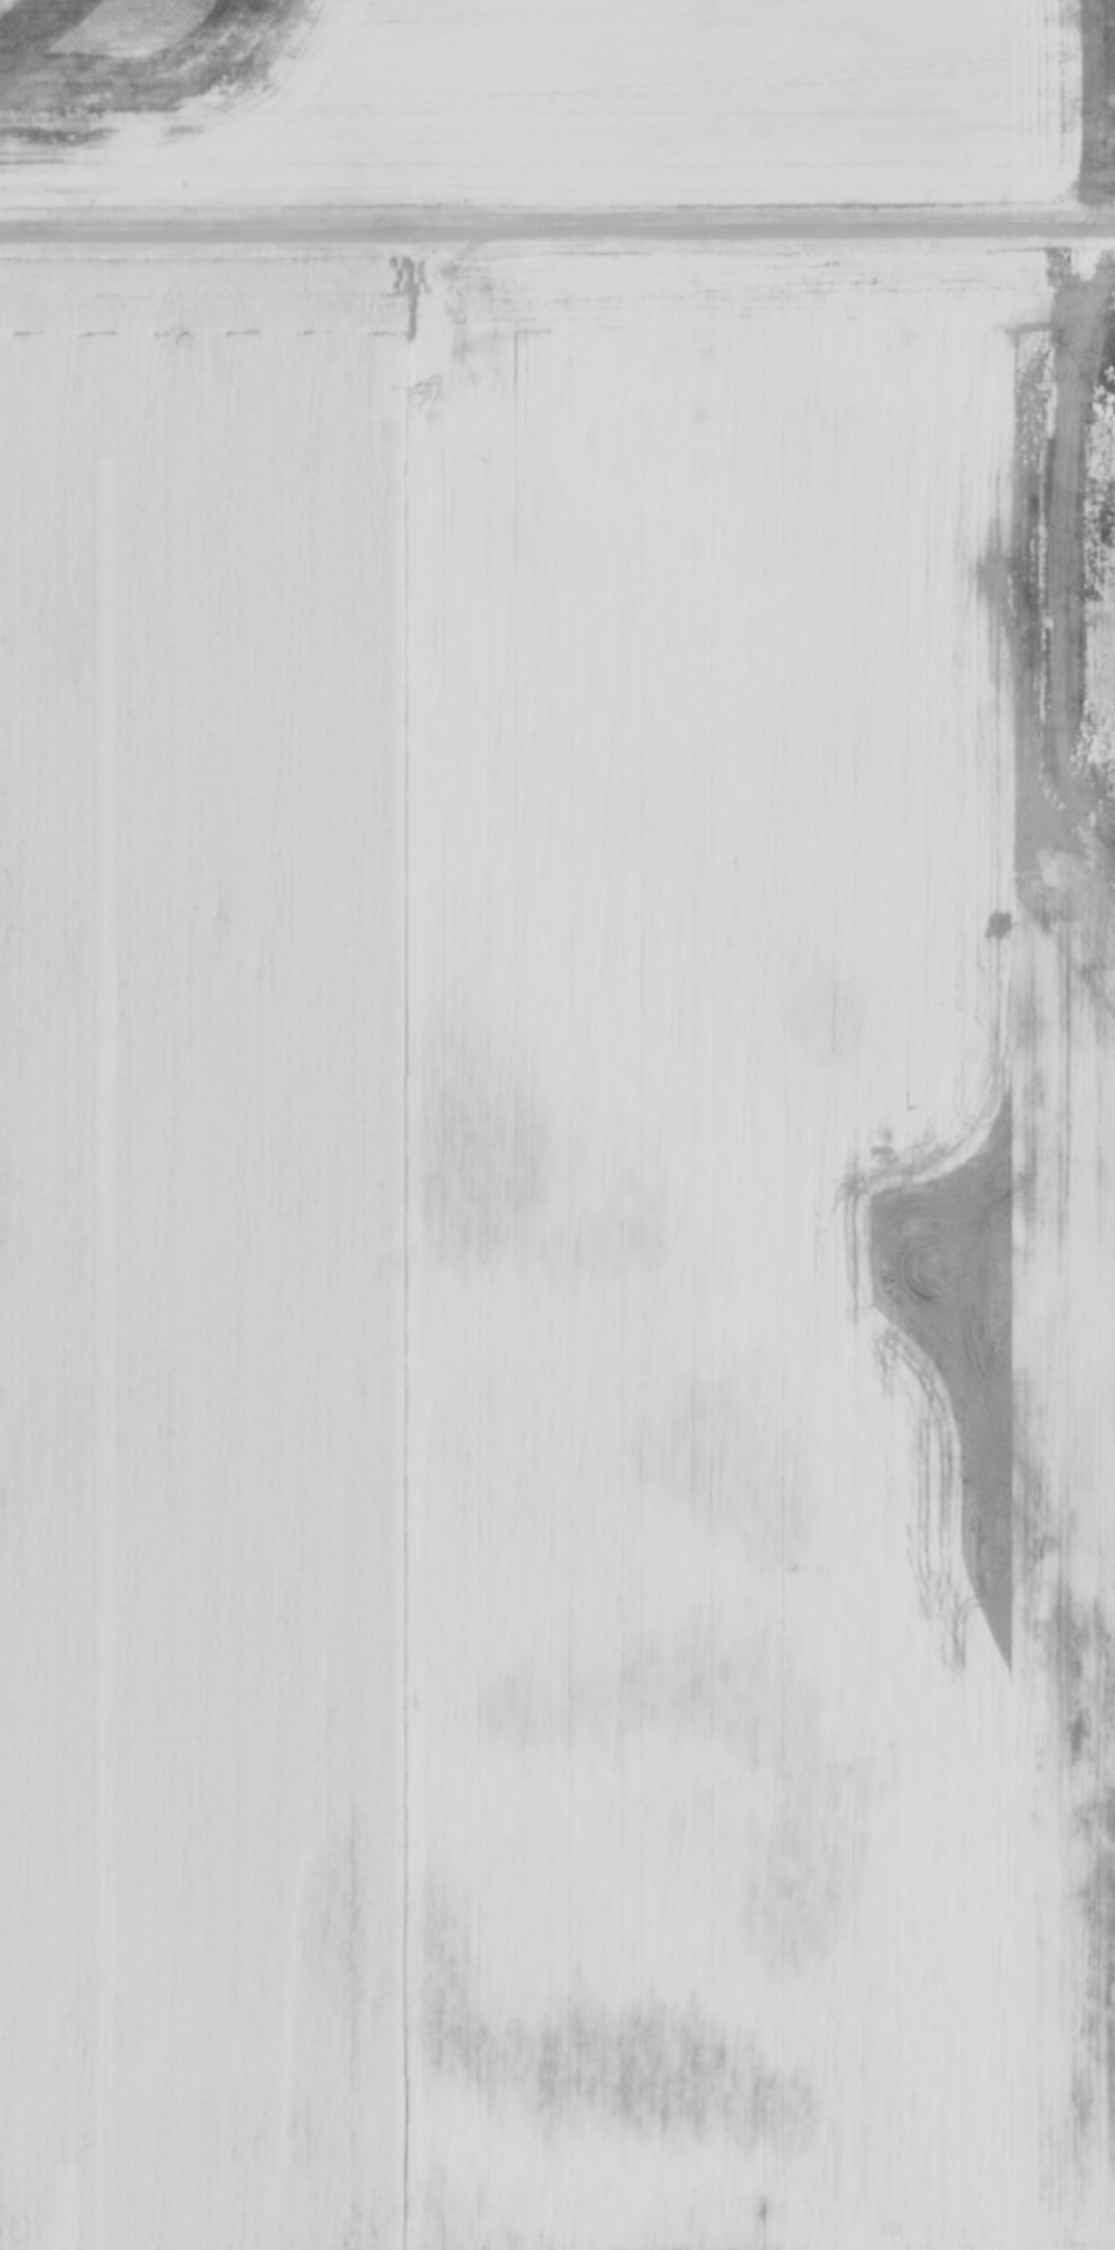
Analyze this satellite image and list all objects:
crop: (554, 104)
road: (557, 232)
crop: (557, 1252)

